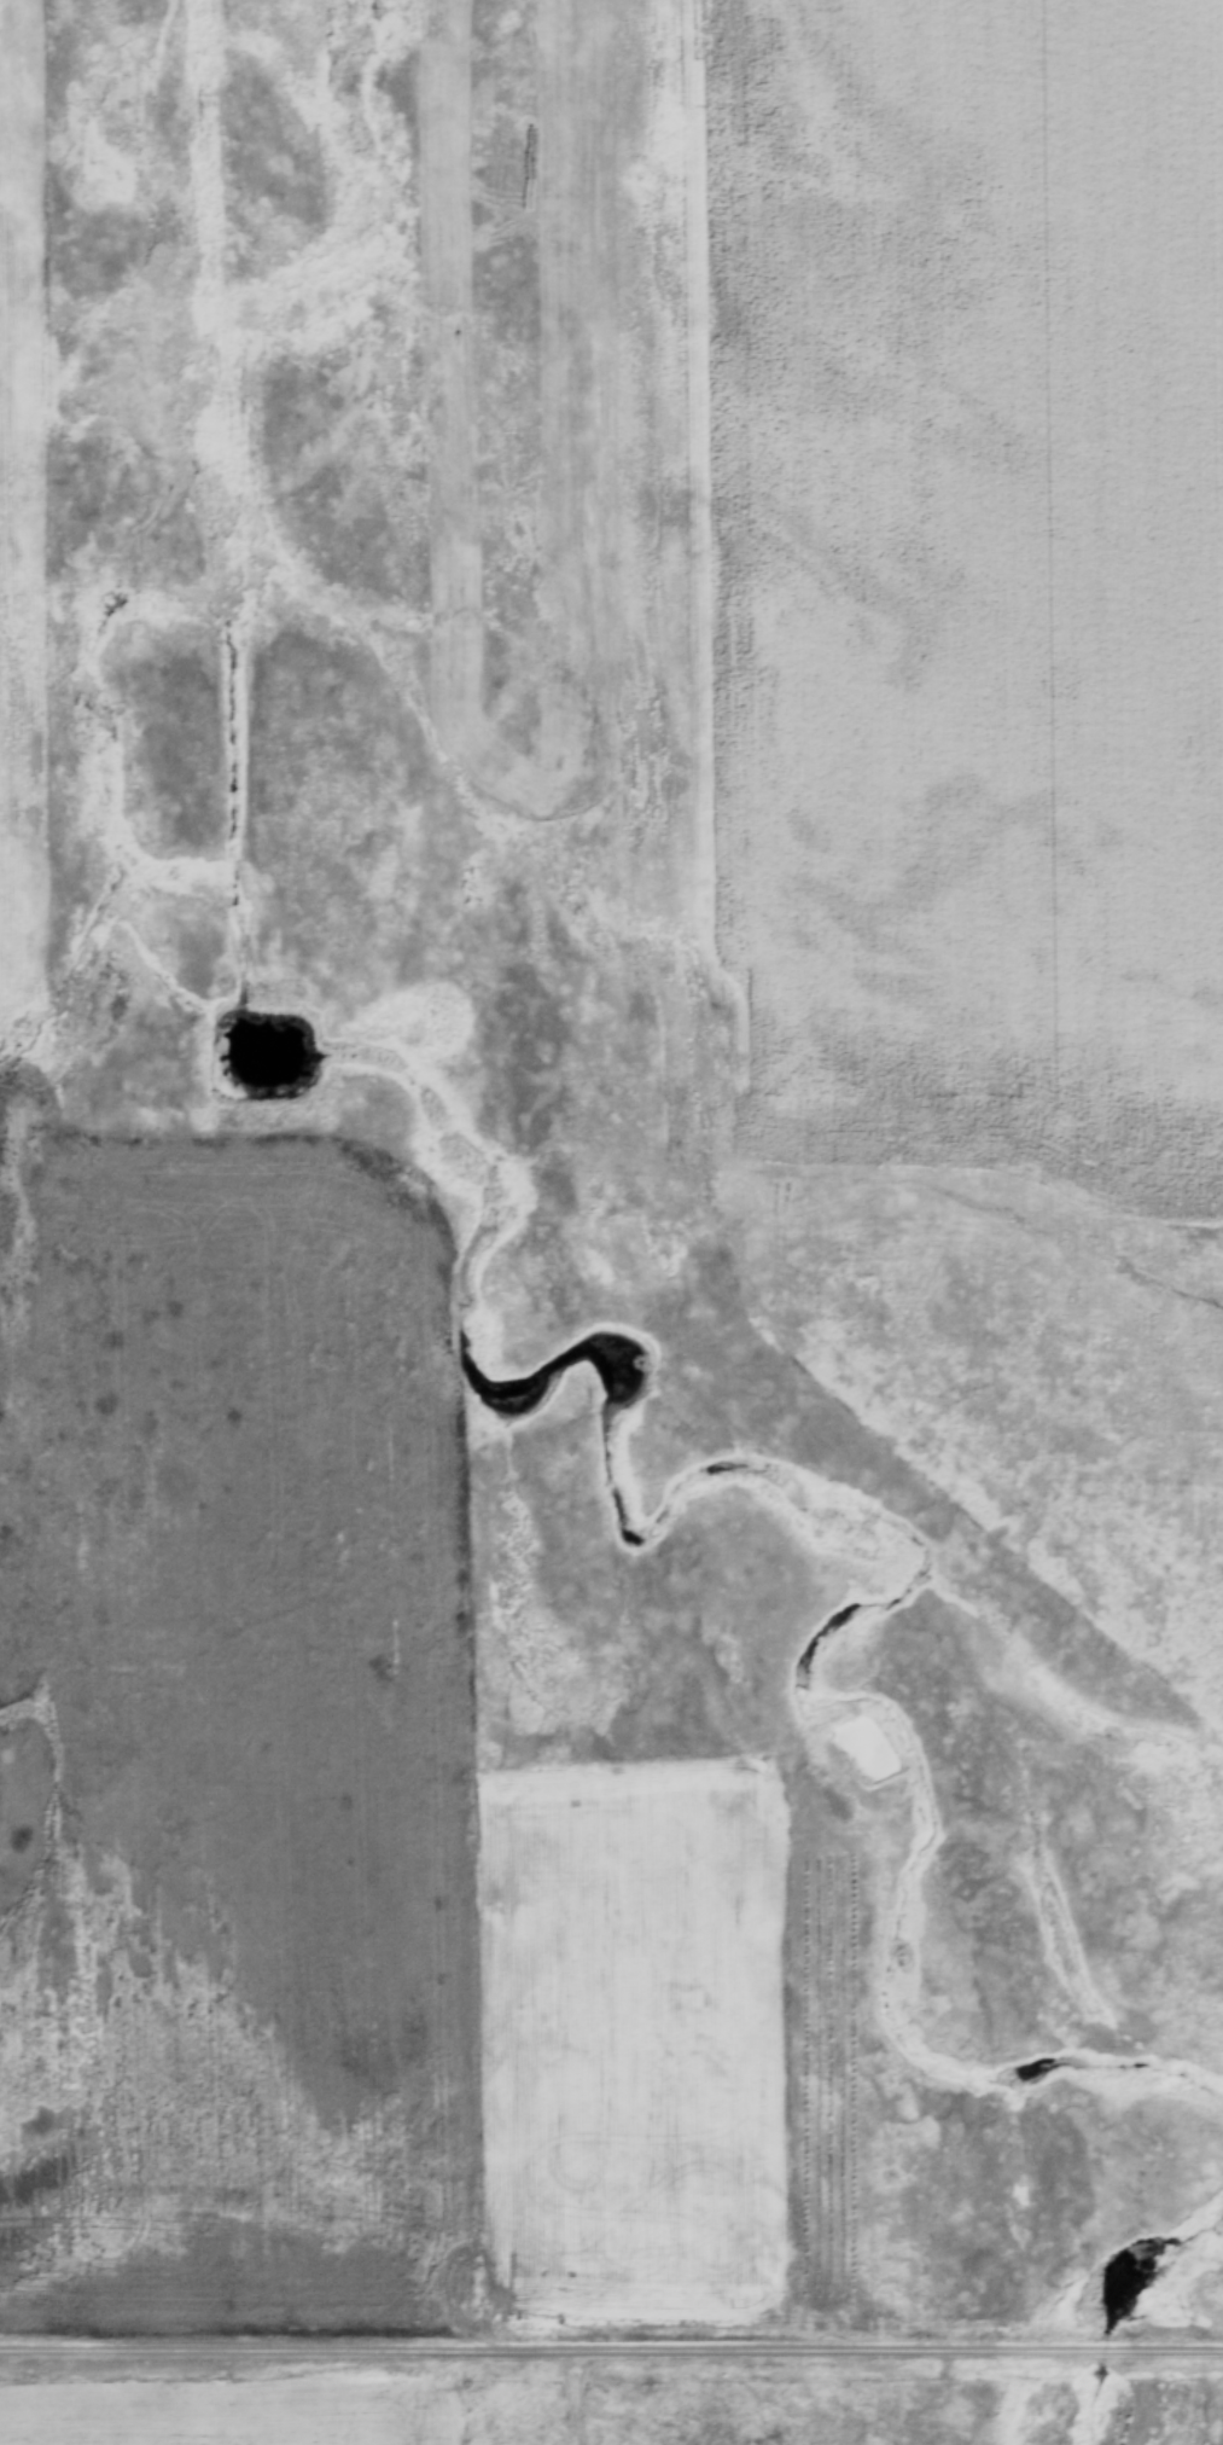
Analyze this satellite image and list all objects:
road: (611, 2351)

